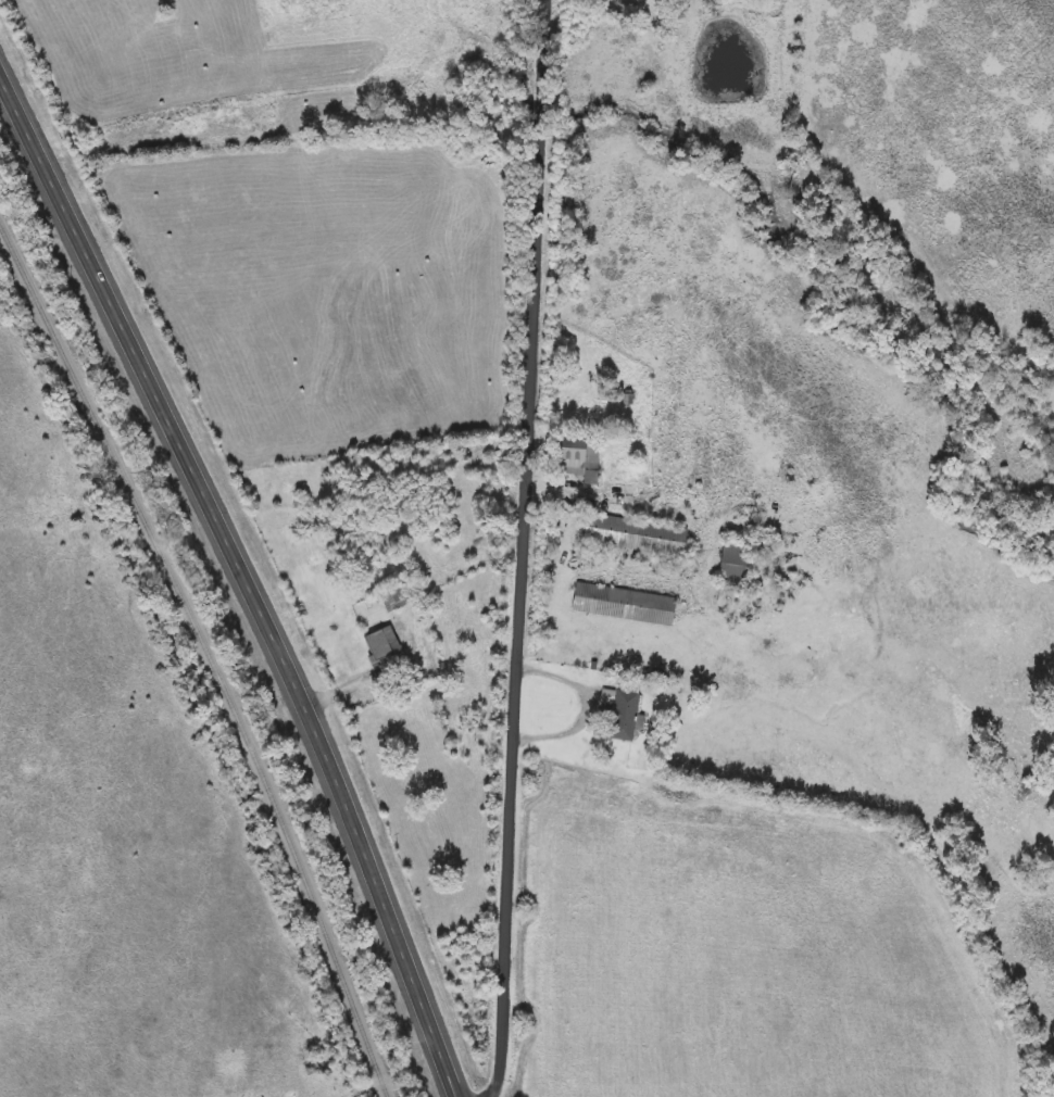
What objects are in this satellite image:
building: (581, 459)
building: (637, 535)
road: (525, 548)
building: (737, 565)
road: (247, 578)
building: (394, 598)
building: (626, 606)
building: (385, 644)
railway: (209, 651)
road: (589, 705)
building: (626, 714)

